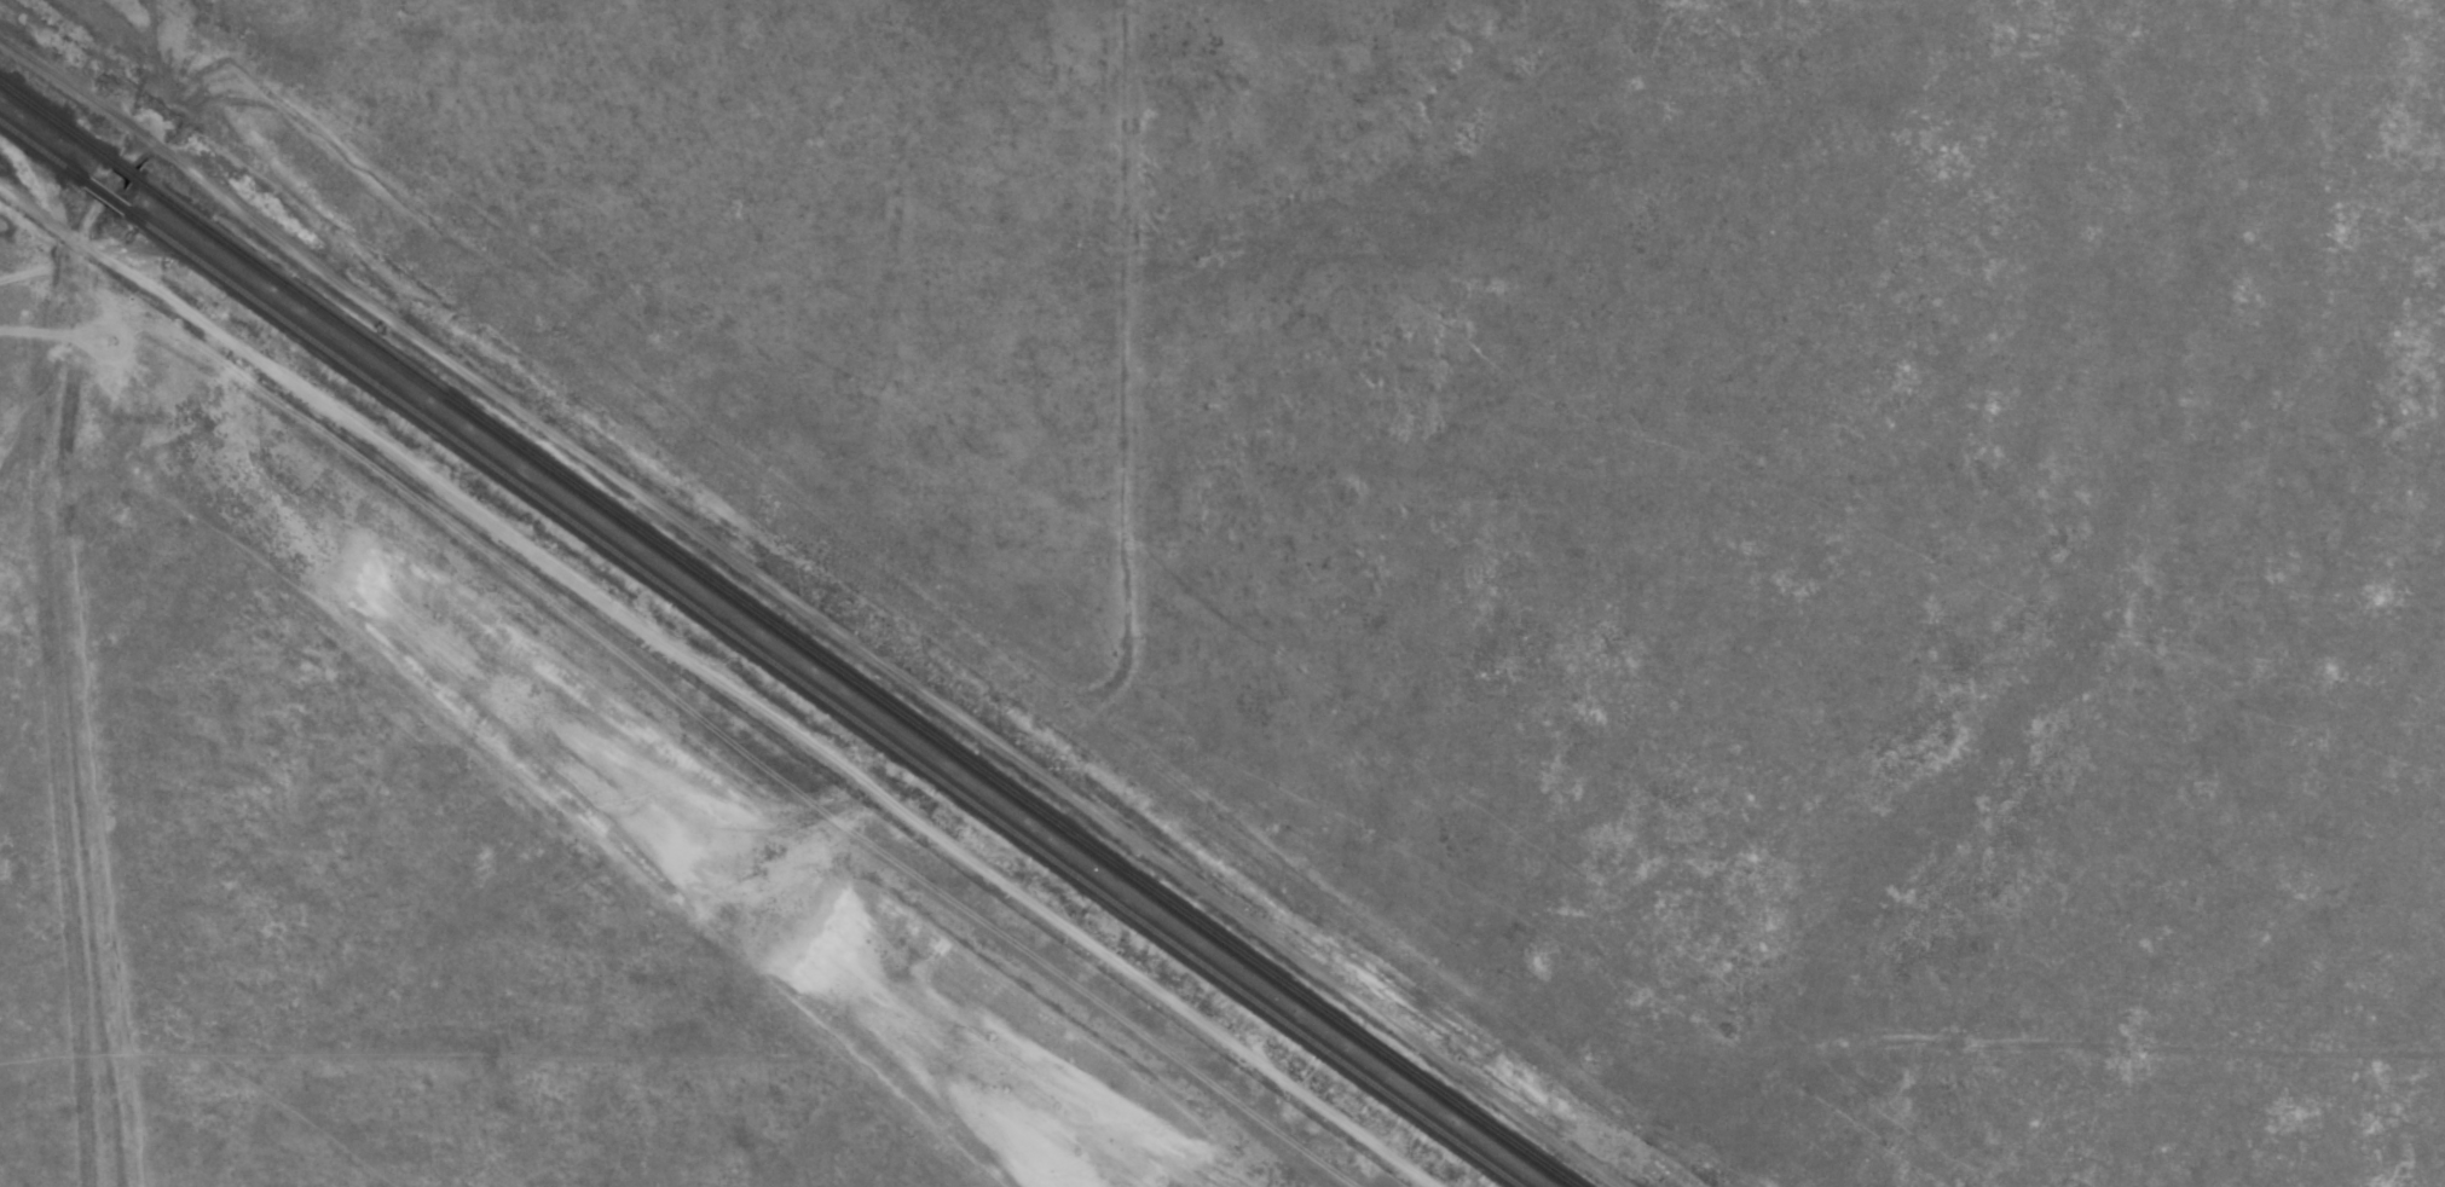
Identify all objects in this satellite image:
railway: (54, 121)
railway: (42, 152)
railway: (125, 170)
railway: (106, 197)
road: (794, 523)
railway: (857, 684)
road: (688, 695)
railway: (822, 699)

